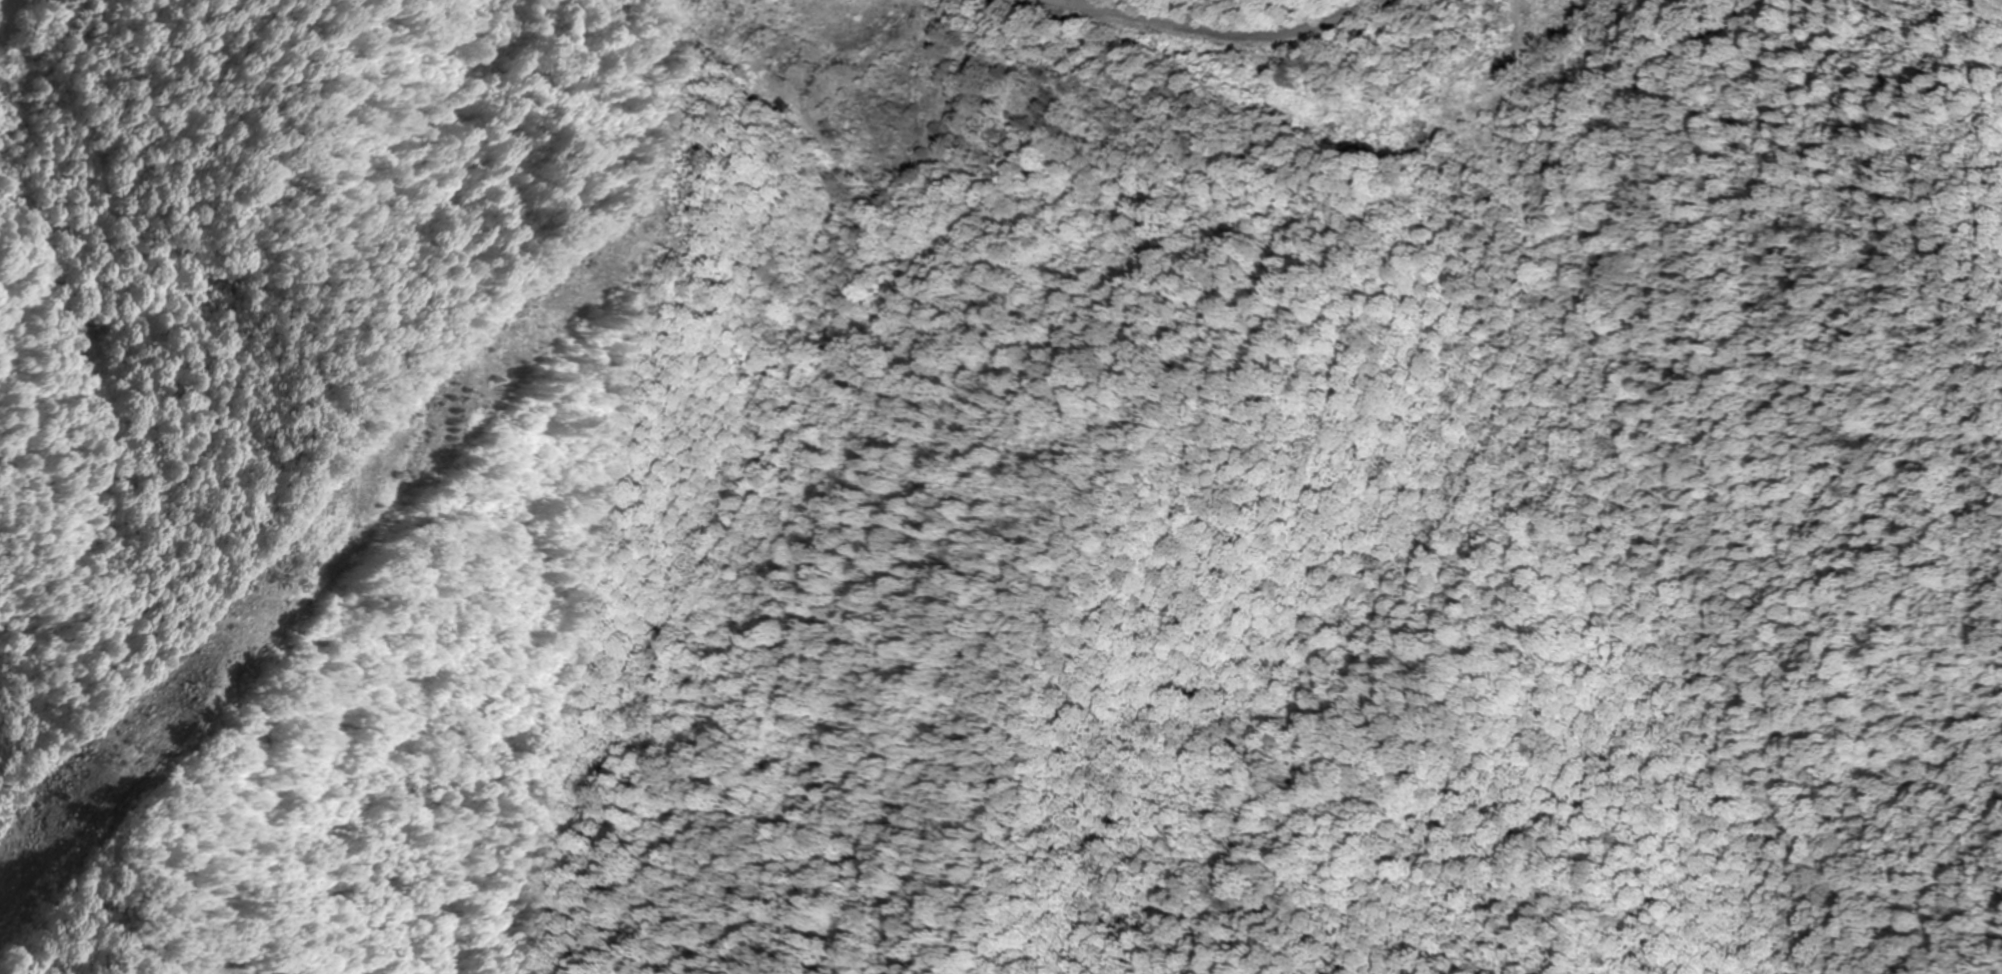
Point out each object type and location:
road: (1204, 32)
power tower: (274, 584)

